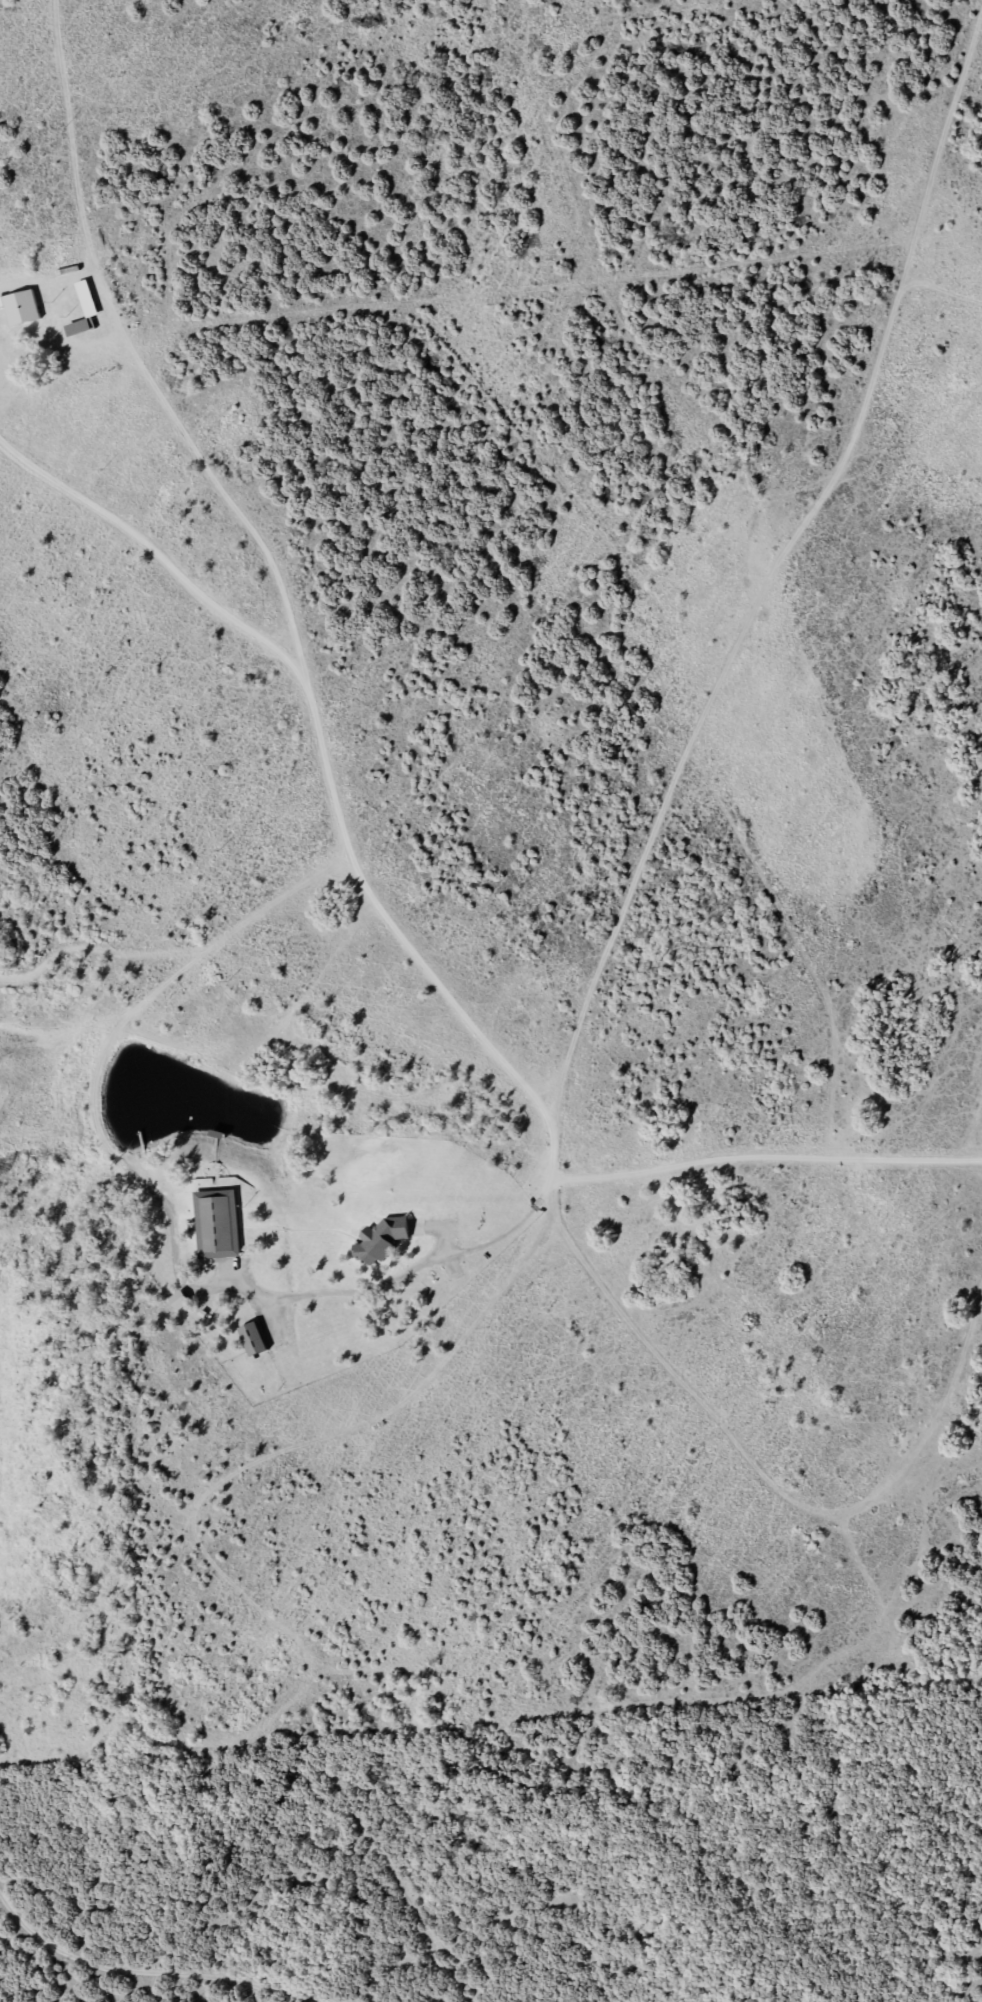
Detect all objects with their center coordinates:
road: (811, 28)
building: (212, 1226)
building: (374, 1242)
building: (174, 1303)
building: (247, 1341)
road: (62, 1956)

